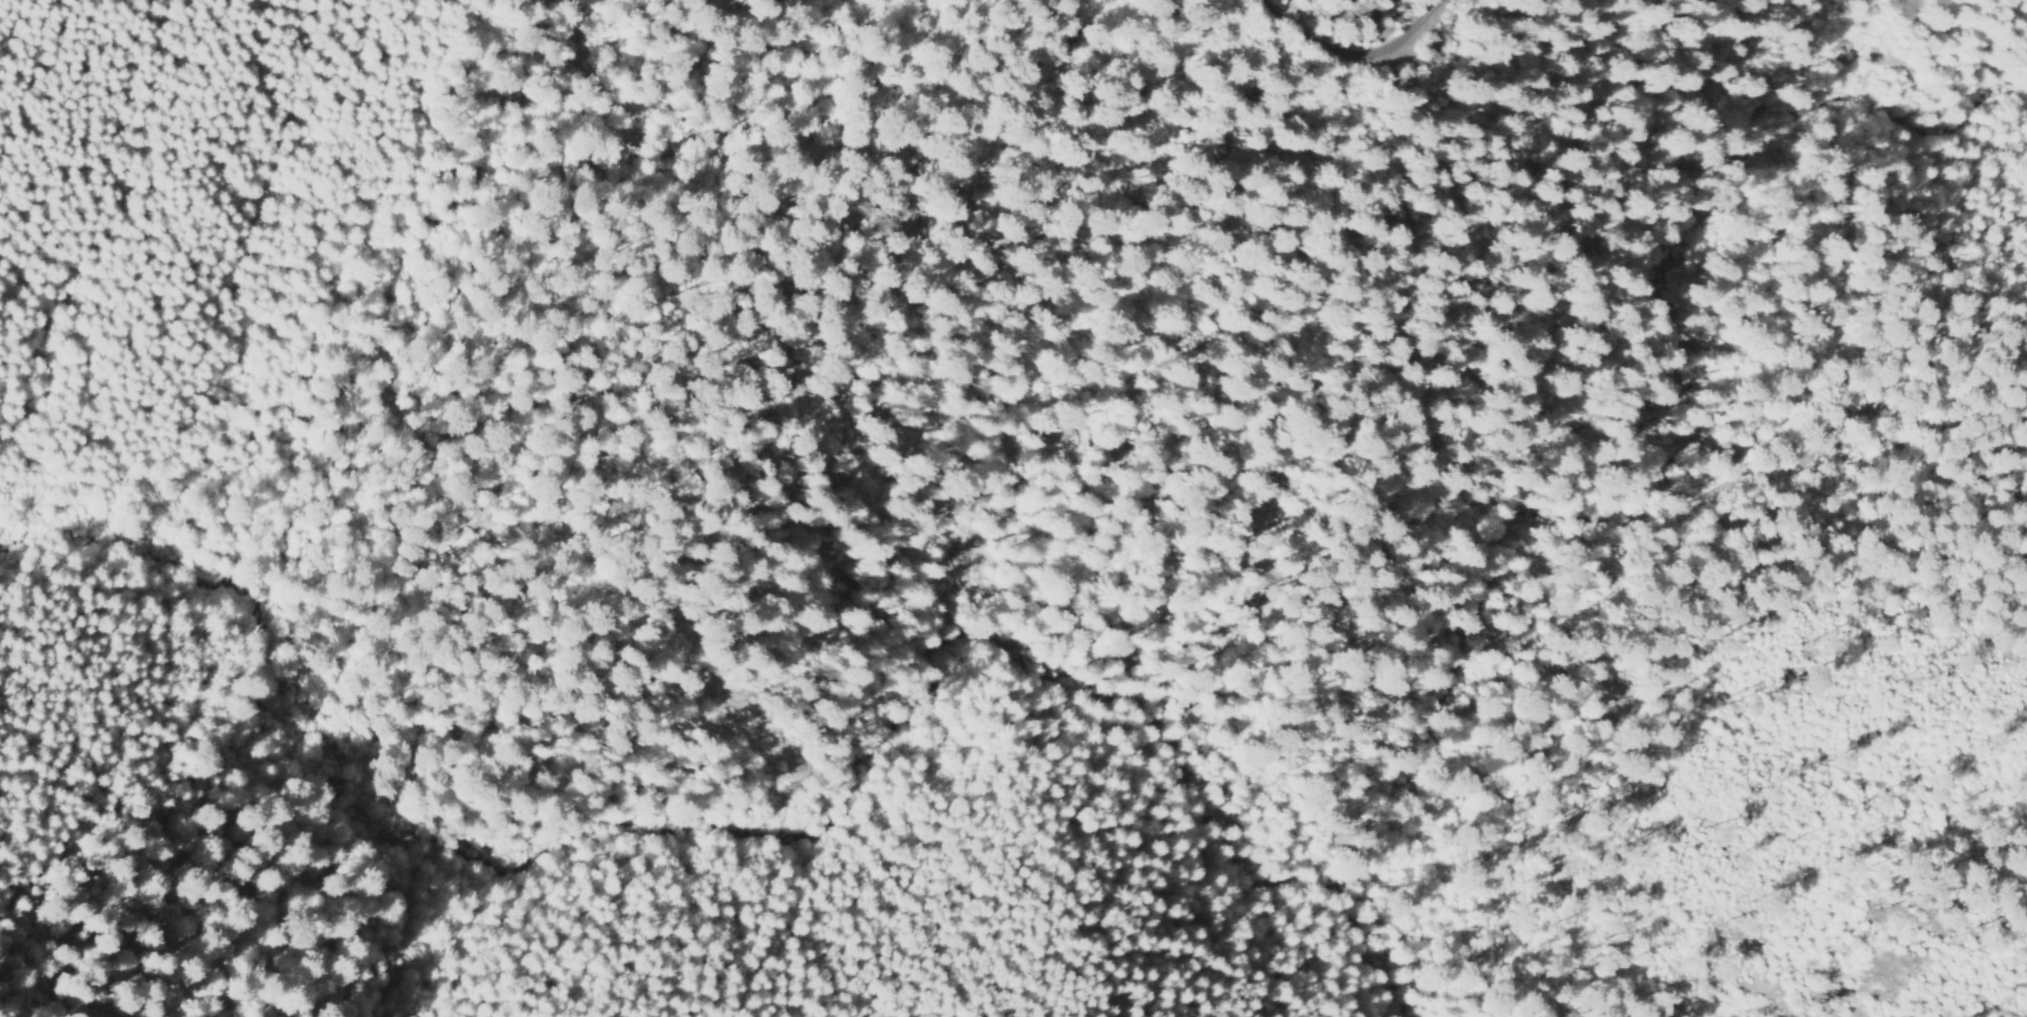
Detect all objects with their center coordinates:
road: (1348, 54)

